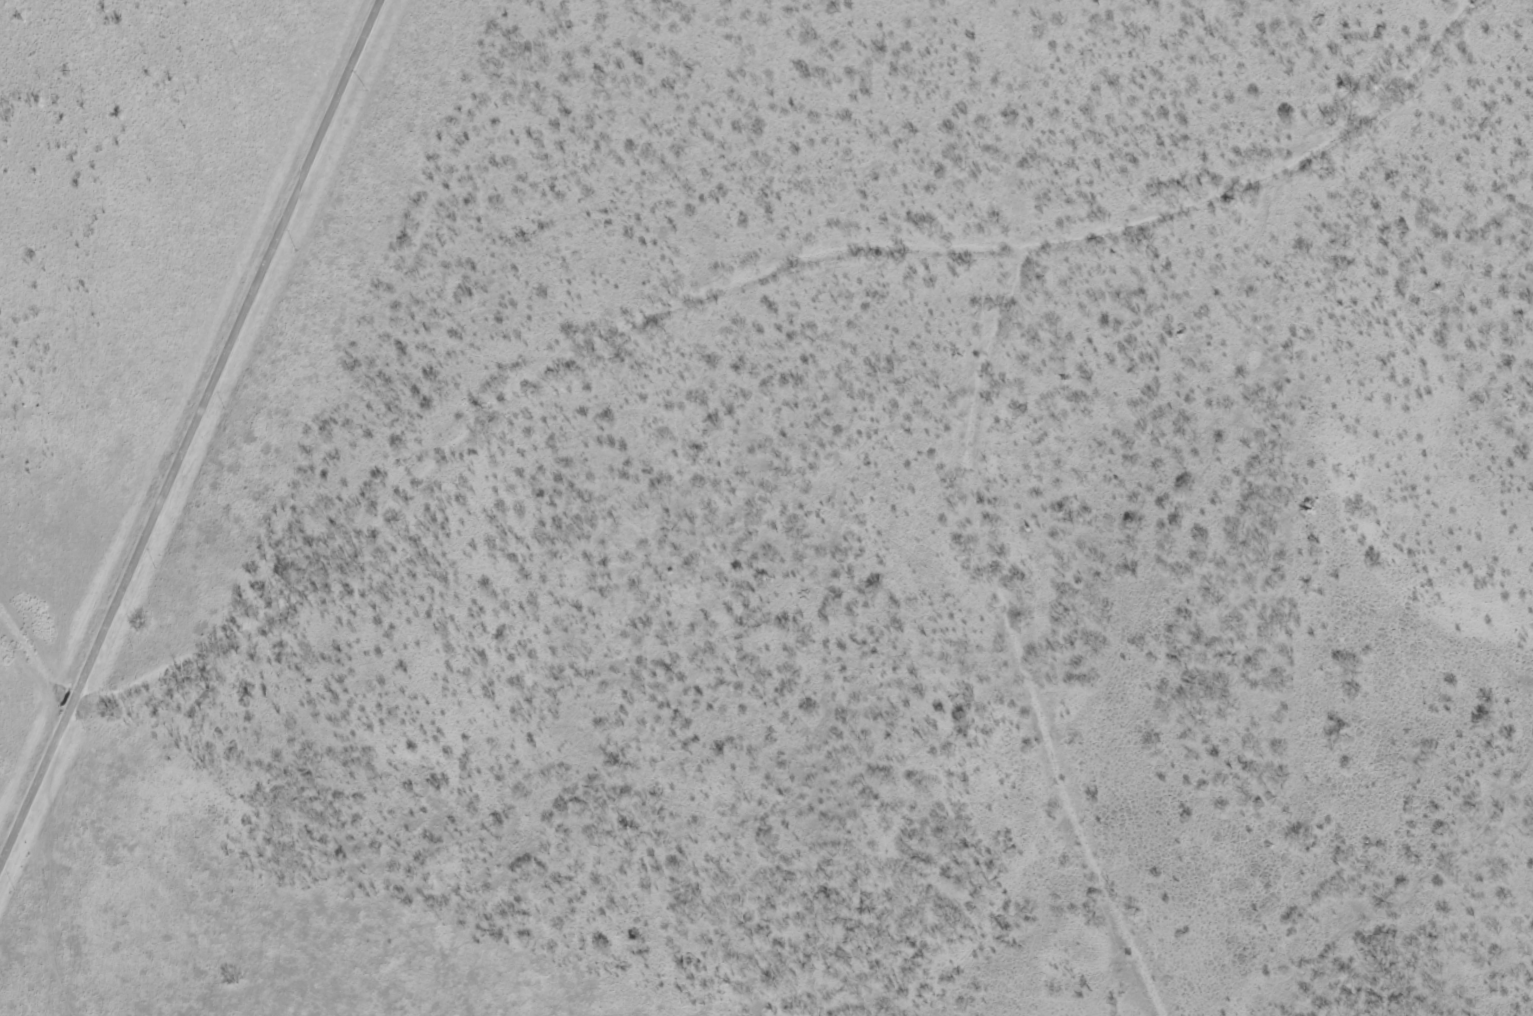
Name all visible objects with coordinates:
road: (188, 425)

